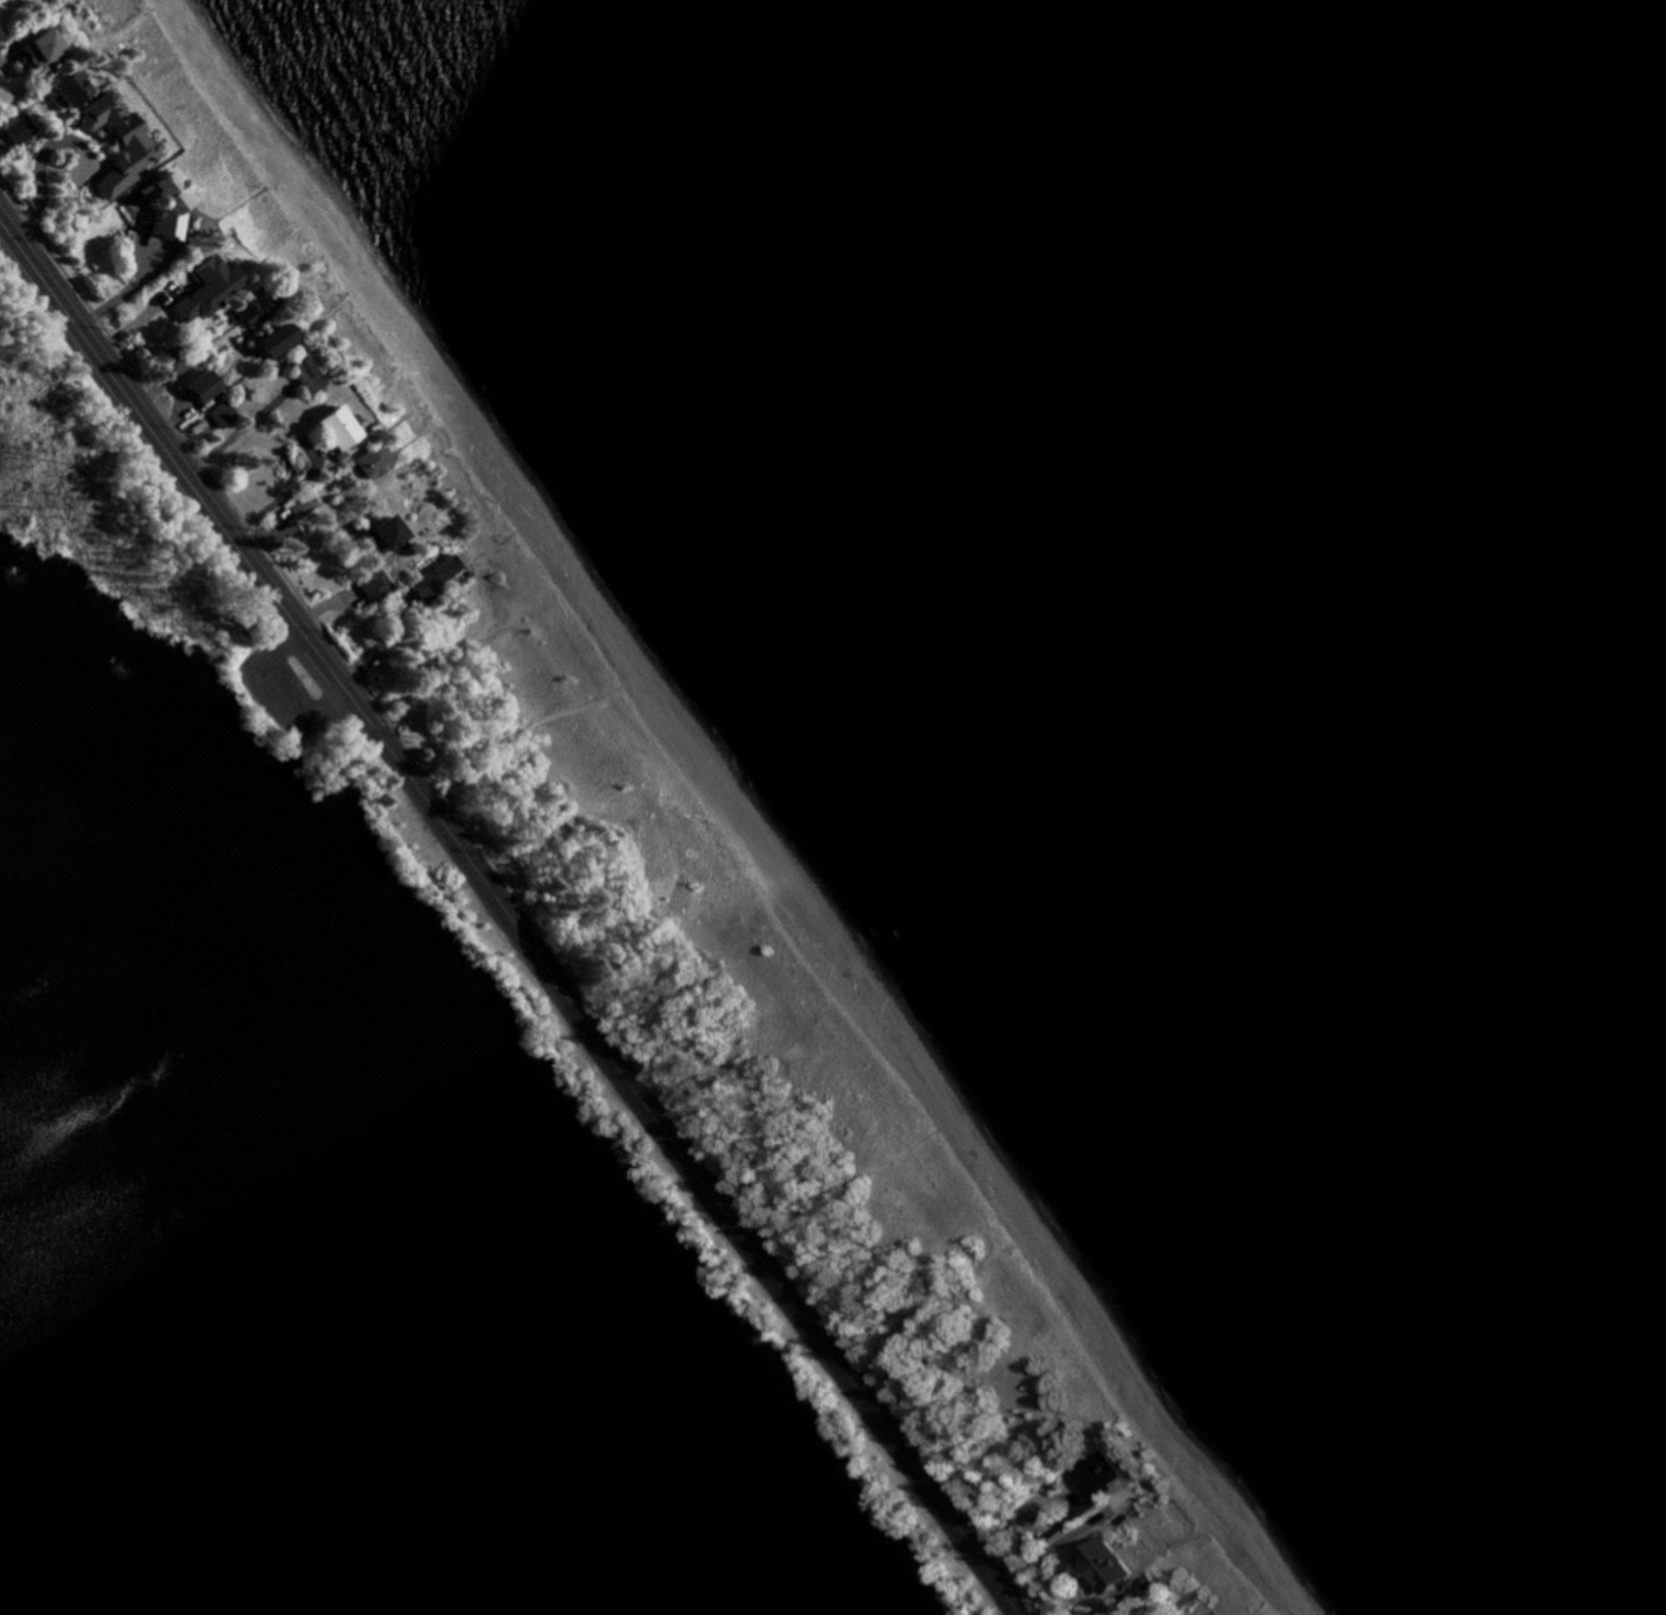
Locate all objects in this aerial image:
building: (1, 35)
building: (43, 45)
building: (74, 89)
building: (19, 127)
building: (119, 140)
building: (165, 203)
building: (209, 286)
building: (255, 308)
building: (279, 341)
building: (308, 374)
building: (207, 385)
building: (222, 412)
building: (339, 429)
road: (170, 453)
building: (374, 461)
building: (387, 536)
building: (433, 576)
building: (375, 586)
road: (400, 665)
road: (347, 694)
road: (684, 1160)
building: (1098, 1475)
building: (1123, 1507)
building: (1102, 1570)

